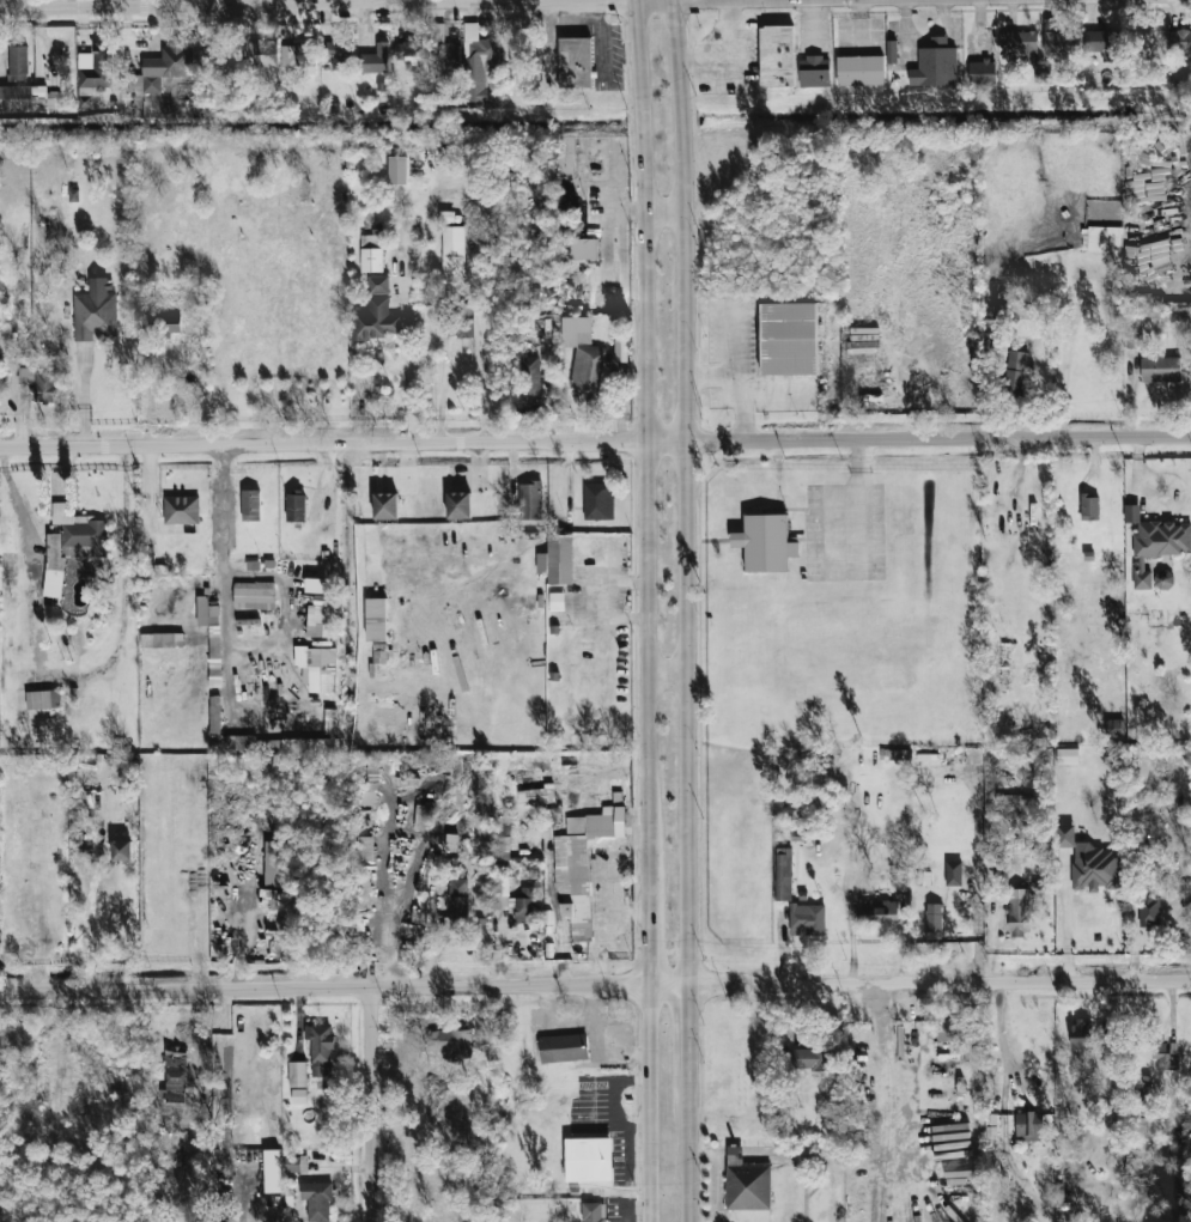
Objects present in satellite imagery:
road: (262, 2)
road: (730, 13)
road: (861, 19)
road: (813, 25)
road: (979, 26)
road: (905, 31)
road: (859, 38)
building: (1059, 41)
building: (1099, 41)
building: (1179, 41)
road: (950, 42)
building: (1020, 44)
building: (444, 49)
building: (892, 51)
building: (260, 54)
building: (298, 54)
building: (409, 55)
building: (777, 56)
building: (340, 57)
building: (375, 60)
road: (693, 61)
building: (18, 62)
building: (575, 62)
building: (478, 63)
building: (935, 65)
building: (96, 67)
road: (737, 67)
building: (160, 68)
building: (814, 71)
building: (859, 71)
building: (982, 72)
building: (29, 98)
building: (396, 170)
road: (666, 214)
building: (1105, 239)
building: (583, 248)
building: (372, 251)
building: (452, 253)
building: (378, 284)
building: (95, 315)
building: (376, 320)
building: (455, 324)
building: (165, 326)
road: (480, 328)
building: (788, 339)
building: (1134, 339)
building: (583, 353)
road: (408, 360)
road: (1064, 361)
building: (1016, 370)
building: (1161, 370)
building: (530, 377)
road: (742, 382)
building: (42, 384)
road: (442, 394)
road: (85, 400)
road: (22, 421)
road: (595, 440)
road: (643, 451)
road: (514, 468)
road: (1136, 473)
road: (569, 475)
road: (150, 487)
road: (686, 491)
road: (1177, 498)
building: (530, 500)
building: (598, 500)
road: (846, 503)
road: (18, 504)
building: (250, 505)
building: (458, 505)
building: (296, 506)
building: (385, 506)
building: (1089, 506)
building: (181, 510)
parking lot: (846, 531)
road: (373, 535)
building: (72, 543)
building: (766, 543)
building: (1159, 546)
building: (555, 560)
building: (1163, 579)
building: (254, 595)
building: (557, 601)
building: (207, 612)
building: (376, 619)
building: (318, 621)
road: (231, 631)
building: (174, 640)
building: (318, 667)
road: (664, 674)
building: (214, 680)
building: (43, 699)
building: (1113, 728)
building: (1067, 755)
building: (535, 796)
building: (1014, 807)
building: (506, 840)
building: (450, 841)
building: (364, 849)
building: (121, 850)
building: (1089, 862)
building: (272, 863)
building: (581, 865)
building: (783, 874)
building: (363, 883)
building: (516, 899)
building: (456, 905)
building: (1148, 910)
building: (877, 911)
building: (1019, 916)
building: (932, 917)
road: (1067, 917)
building: (807, 919)
road: (87, 923)
road: (645, 943)
road: (432, 944)
road: (595, 984)
road: (567, 1023)
road: (997, 1028)
building: (950, 1029)
road: (683, 1033)
building: (1081, 1034)
building: (449, 1040)
road: (609, 1042)
building: (563, 1047)
building: (320, 1050)
building: (1166, 1054)
building: (175, 1058)
building: (809, 1058)
building: (297, 1074)
building: (172, 1086)
road: (889, 1090)
building: (298, 1096)
road: (646, 1102)
road: (373, 1105)
building: (1028, 1125)
road: (685, 1153)
building: (589, 1159)
building: (296, 1163)
building: (746, 1183)
building: (316, 1199)
building: (591, 1211)

